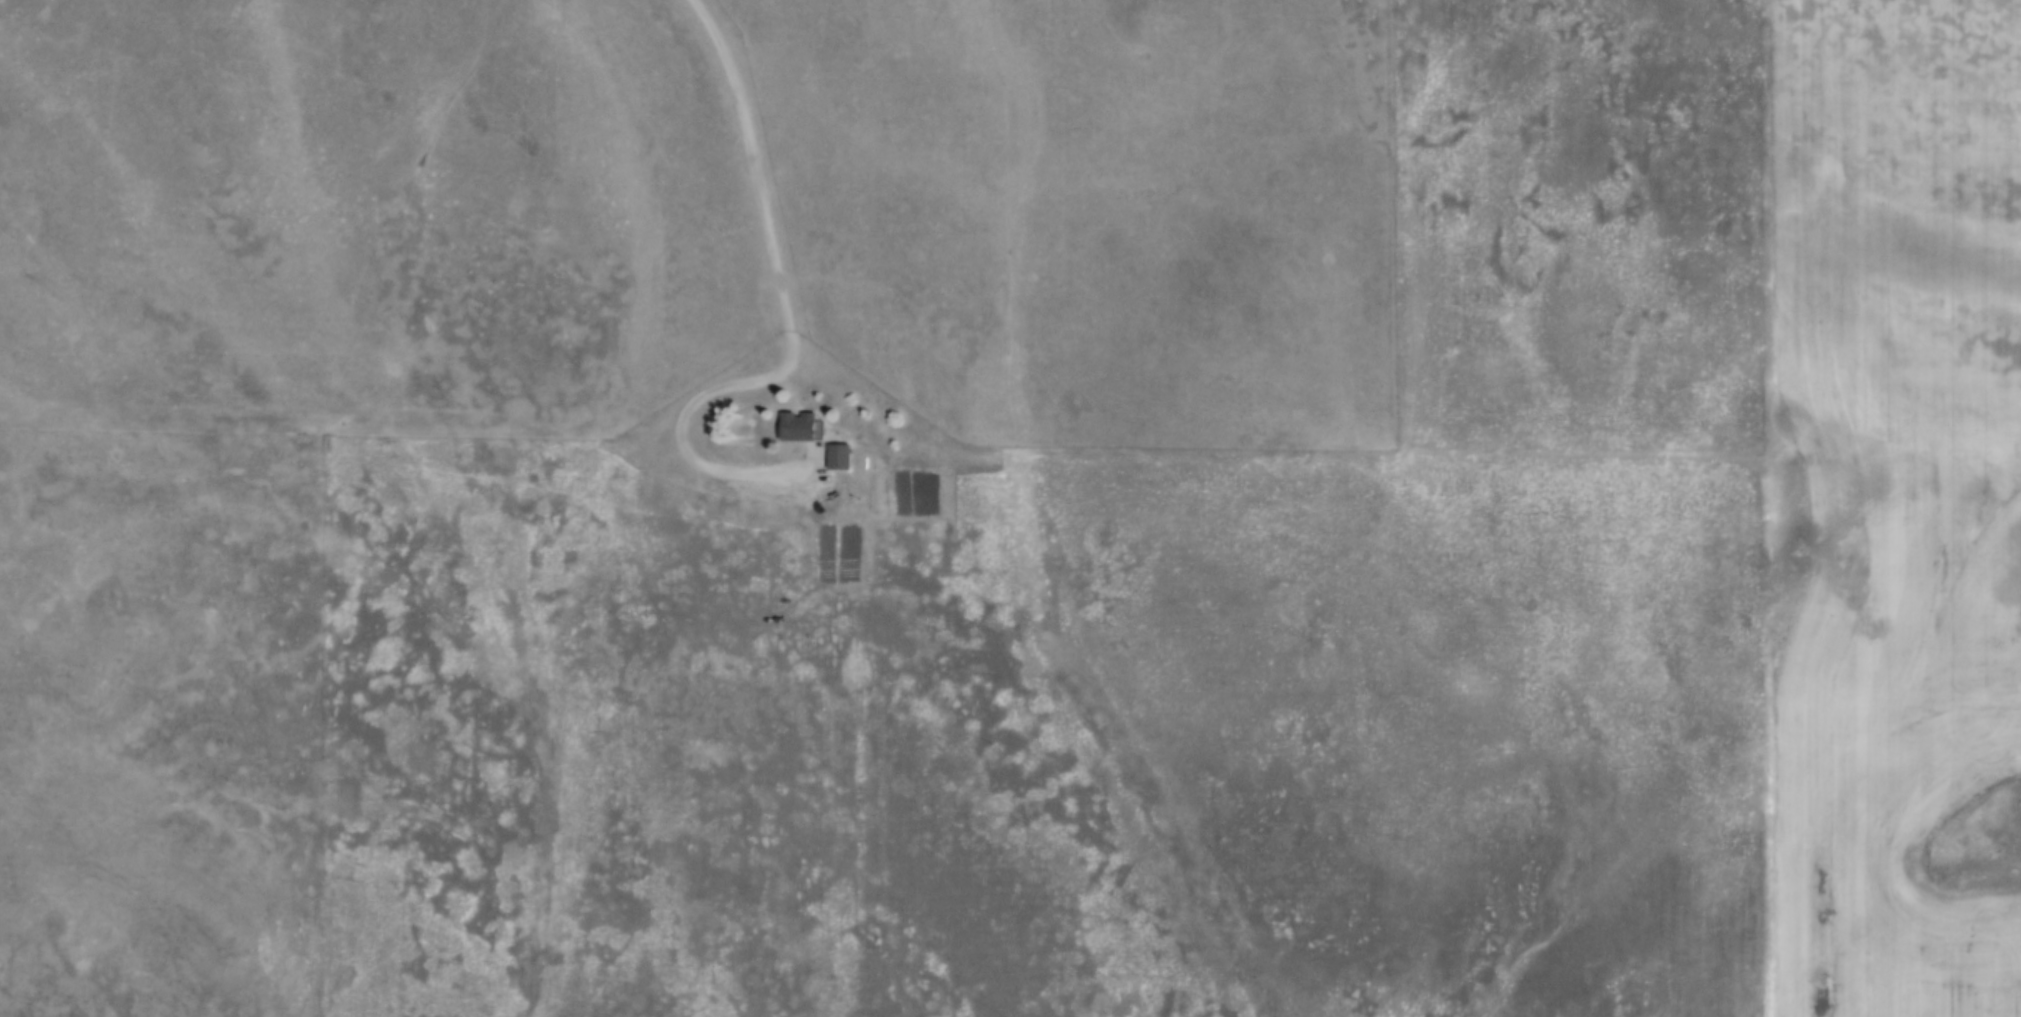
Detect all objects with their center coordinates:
road: (787, 317)
building: (795, 425)
building: (835, 456)

